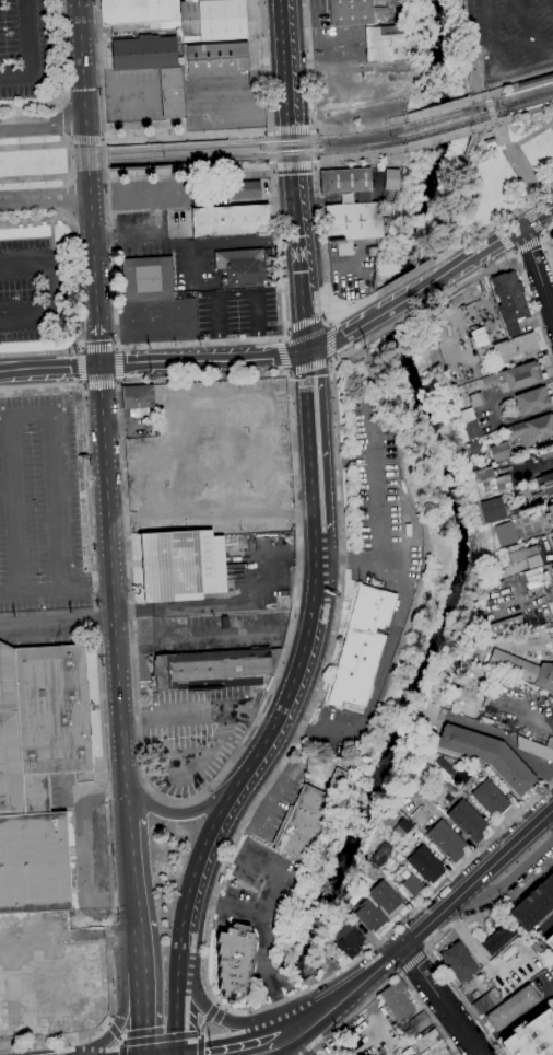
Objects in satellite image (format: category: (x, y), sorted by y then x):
building: (138, 11)
building: (354, 11)
building: (212, 20)
road: (531, 28)
road: (491, 36)
parking lot: (511, 36)
building: (387, 43)
parking lot: (21, 48)
road: (61, 53)
building: (144, 53)
road: (27, 55)
building: (215, 58)
road: (289, 63)
road: (308, 63)
road: (266, 65)
building: (536, 82)
railway: (502, 89)
building: (208, 92)
building: (172, 93)
parking lot: (133, 96)
road: (485, 96)
road: (84, 97)
railway: (511, 98)
building: (209, 105)
road: (33, 106)
road: (66, 106)
road: (491, 108)
road: (435, 111)
railway: (513, 111)
railway: (509, 117)
building: (210, 118)
railway: (437, 118)
road: (66, 121)
road: (491, 124)
road: (43, 127)
road: (290, 128)
road: (310, 128)
road: (271, 129)
road: (313, 129)
road: (357, 129)
railway: (439, 129)
road: (270, 130)
road: (188, 136)
road: (438, 138)
road: (68, 139)
railway: (338, 139)
road: (70, 140)
road: (86, 140)
road: (104, 141)
building: (491, 142)
road: (34, 143)
road: (314, 144)
road: (271, 146)
railway: (188, 148)
railway: (339, 149)
road: (361, 156)
road: (69, 159)
railway: (189, 159)
road: (315, 162)
road: (271, 164)
road: (314, 164)
road: (293, 165)
road: (274, 166)
road: (189, 170)
road: (107, 175)
road: (35, 178)
building: (392, 179)
road: (70, 181)
building: (348, 182)
building: (242, 189)
road: (44, 198)
building: (200, 198)
road: (71, 200)
road: (525, 206)
road: (536, 217)
road: (73, 218)
road: (36, 221)
building: (231, 221)
road: (532, 221)
power tower: (451, 223)
road: (493, 223)
road: (495, 224)
building: (355, 227)
road: (541, 235)
road: (505, 239)
road: (301, 240)
road: (191, 243)
road: (527, 243)
road: (323, 244)
parking lot: (168, 245)
road: (545, 246)
road: (278, 248)
road: (515, 252)
road: (473, 254)
road: (518, 258)
road: (190, 264)
building: (244, 266)
road: (537, 270)
road: (404, 276)
building: (148, 278)
road: (94, 281)
parking lot: (34, 293)
road: (236, 293)
road: (52, 297)
road: (401, 300)
building: (510, 301)
road: (354, 305)
parking lot: (237, 312)
road: (323, 315)
road: (306, 322)
road: (330, 322)
road: (397, 322)
road: (78, 325)
road: (287, 328)
road: (341, 336)
road: (279, 339)
road: (201, 341)
road: (330, 343)
building: (516, 346)
power tower: (363, 348)
road: (81, 349)
road: (98, 349)
road: (79, 351)
traffic signals: (308, 351)
building: (483, 351)
road: (284, 357)
road: (204, 359)
road: (330, 361)
road: (118, 364)
road: (309, 364)
road: (80, 367)
traffic signals: (101, 367)
road: (49, 369)
road: (290, 372)
building: (515, 378)
power tower: (151, 379)
road: (119, 381)
road: (81, 382)
road: (84, 384)
road: (99, 384)
road: (116, 384)
road: (78, 397)
building: (138, 399)
building: (476, 399)
building: (533, 401)
road: (62, 403)
road: (32, 414)
road: (4, 415)
building: (467, 415)
building: (472, 429)
building: (532, 429)
building: (499, 451)
road: (315, 454)
road: (534, 469)
road: (374, 482)
building: (489, 482)
building: (545, 484)
parking lot: (377, 492)
road: (74, 495)
parking lot: (39, 507)
building: (491, 510)
building: (549, 514)
building: (552, 532)
building: (505, 533)
building: (551, 540)
building: (527, 556)
road: (350, 559)
building: (552, 565)
building: (183, 566)
parking lot: (267, 569)
road: (113, 575)
road: (99, 584)
road: (52, 588)
road: (211, 604)
road: (57, 624)
building: (503, 625)
parking lot: (213, 631)
building: (361, 647)
building: (539, 656)
building: (513, 665)
building: (213, 669)
building: (544, 677)
road: (377, 681)
road: (291, 695)
building: (450, 696)
road: (198, 708)
road: (139, 711)
building: (427, 718)
road: (256, 719)
road: (103, 721)
road: (248, 734)
parking lot: (191, 737)
road: (506, 741)
building: (534, 749)
building: (487, 755)
road: (283, 758)
parking lot: (310, 763)
building: (444, 767)
building: (38, 770)
road: (187, 774)
building: (448, 785)
building: (491, 798)
road: (126, 802)
road: (197, 811)
building: (420, 815)
building: (308, 818)
building: (467, 820)
building: (402, 827)
building: (446, 840)
building: (381, 854)
road: (467, 859)
building: (425, 865)
road: (132, 873)
road: (275, 874)
road: (476, 879)
building: (412, 885)
road: (498, 892)
building: (386, 900)
building: (534, 904)
road: (230, 907)
parking lot: (256, 911)
building: (369, 916)
road: (548, 930)
road: (189, 931)
building: (498, 938)
building: (348, 940)
road: (436, 940)
building: (550, 941)
road: (141, 950)
road: (425, 950)
building: (234, 960)
road: (412, 962)
building: (459, 962)
road: (268, 964)
road: (397, 970)
road: (391, 974)
road: (338, 993)
road: (440, 1000)
building: (398, 1001)
building: (486, 1001)
road: (216, 1005)
road: (345, 1005)
building: (511, 1008)
building: (10, 1011)
road: (144, 1013)
road: (207, 1019)
road: (237, 1021)
road: (121, 1022)
building: (420, 1022)
road: (108, 1025)
road: (117, 1034)
building: (530, 1035)
road: (163, 1037)
road: (201, 1044)
road: (227, 1044)
building: (433, 1044)
building: (417, 1045)
road: (122, 1048)
traffic signals: (183, 1052)
road: (168, 1053)
road: (181, 1053)

